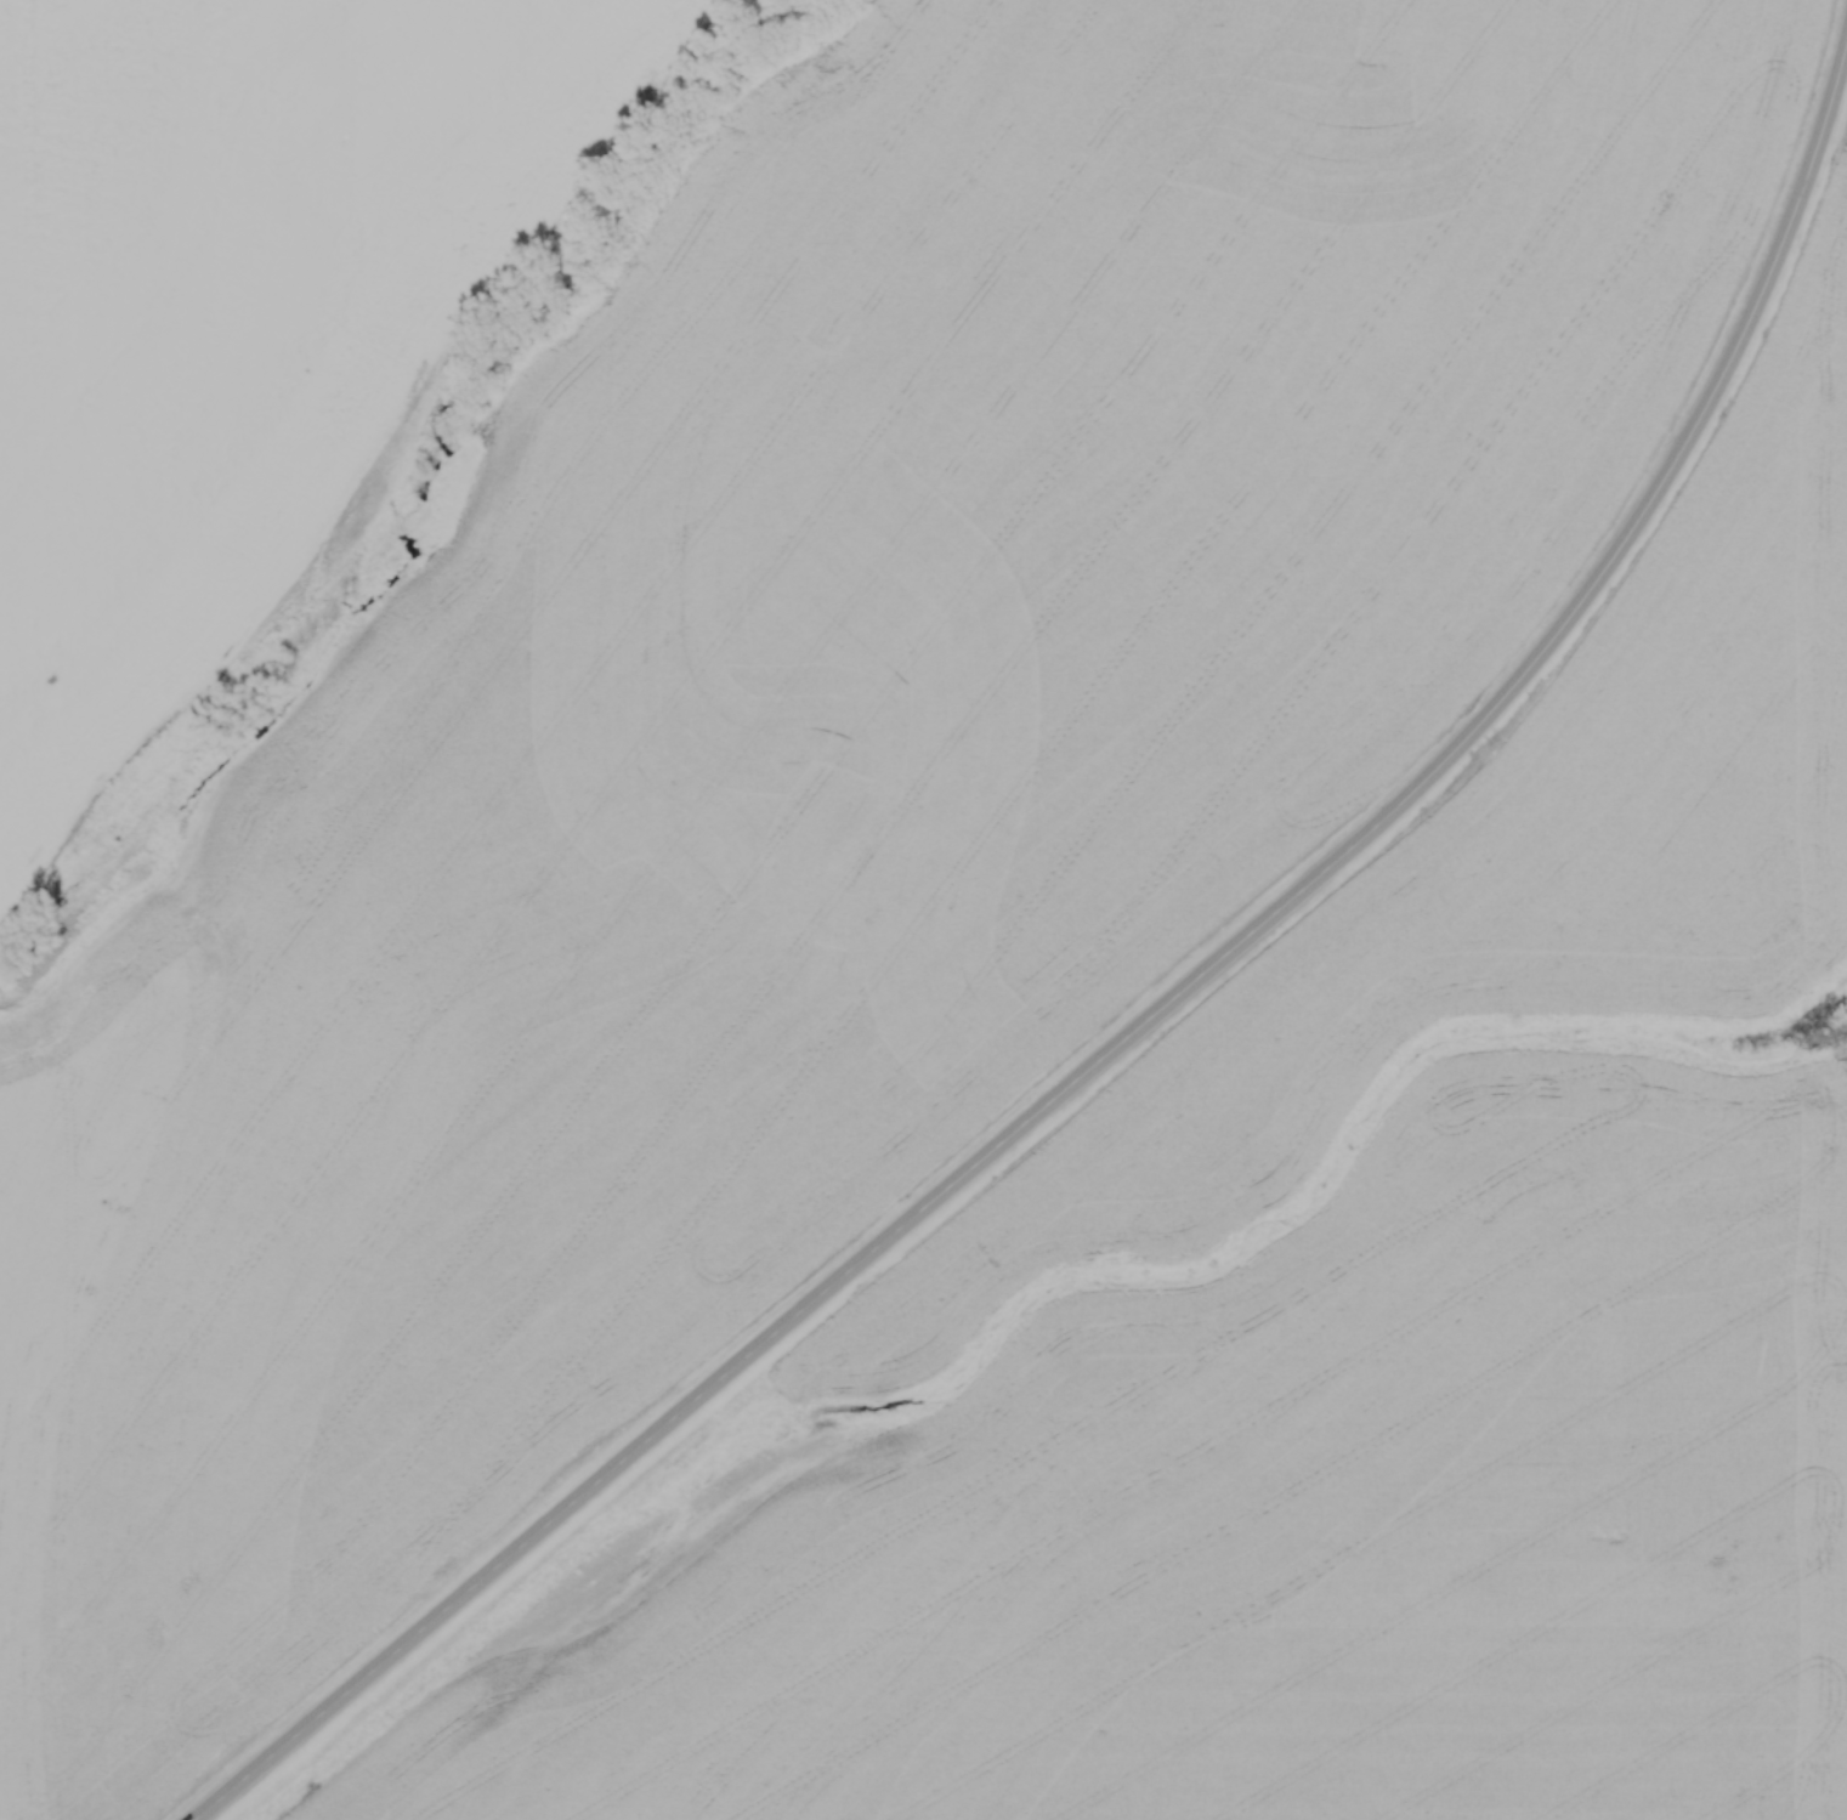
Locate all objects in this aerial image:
road: (1144, 1027)

